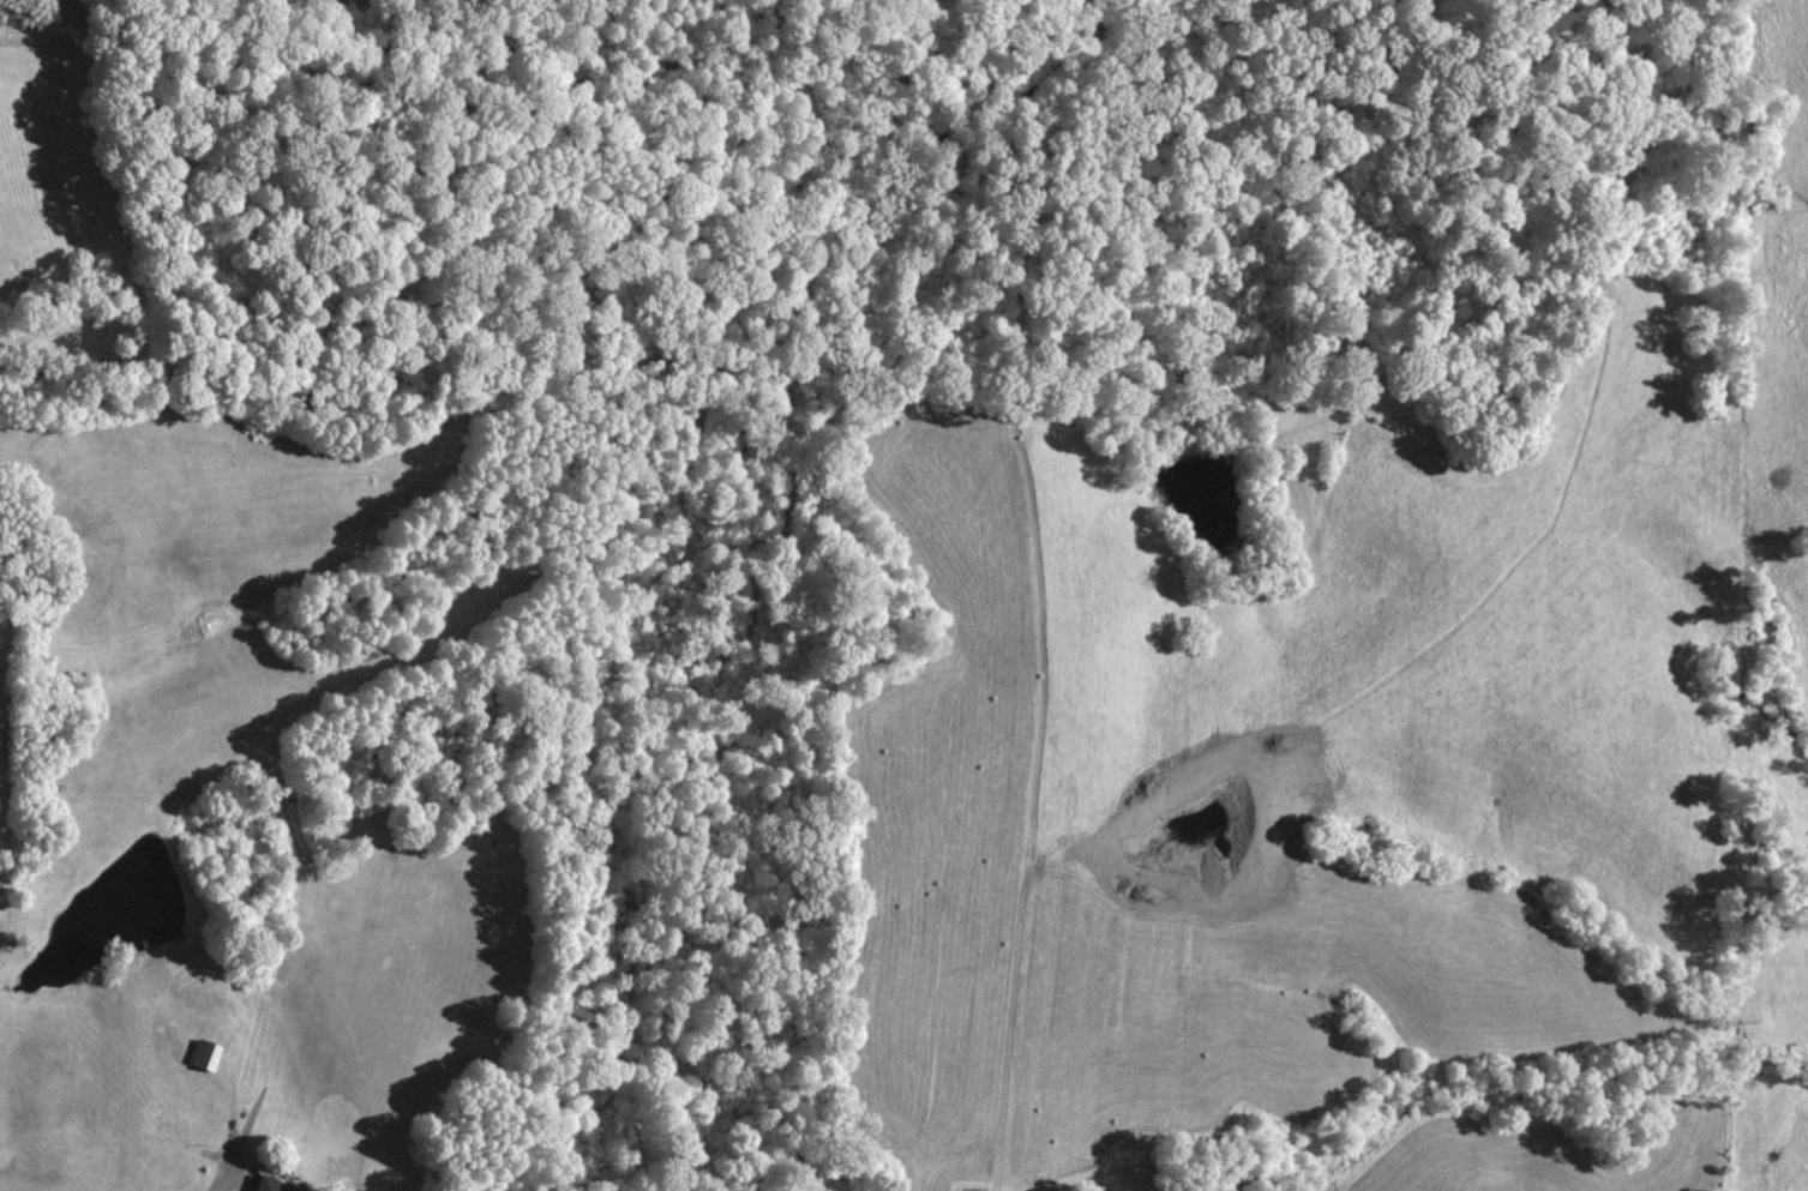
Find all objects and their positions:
building: (203, 1055)
building: (272, 1184)

